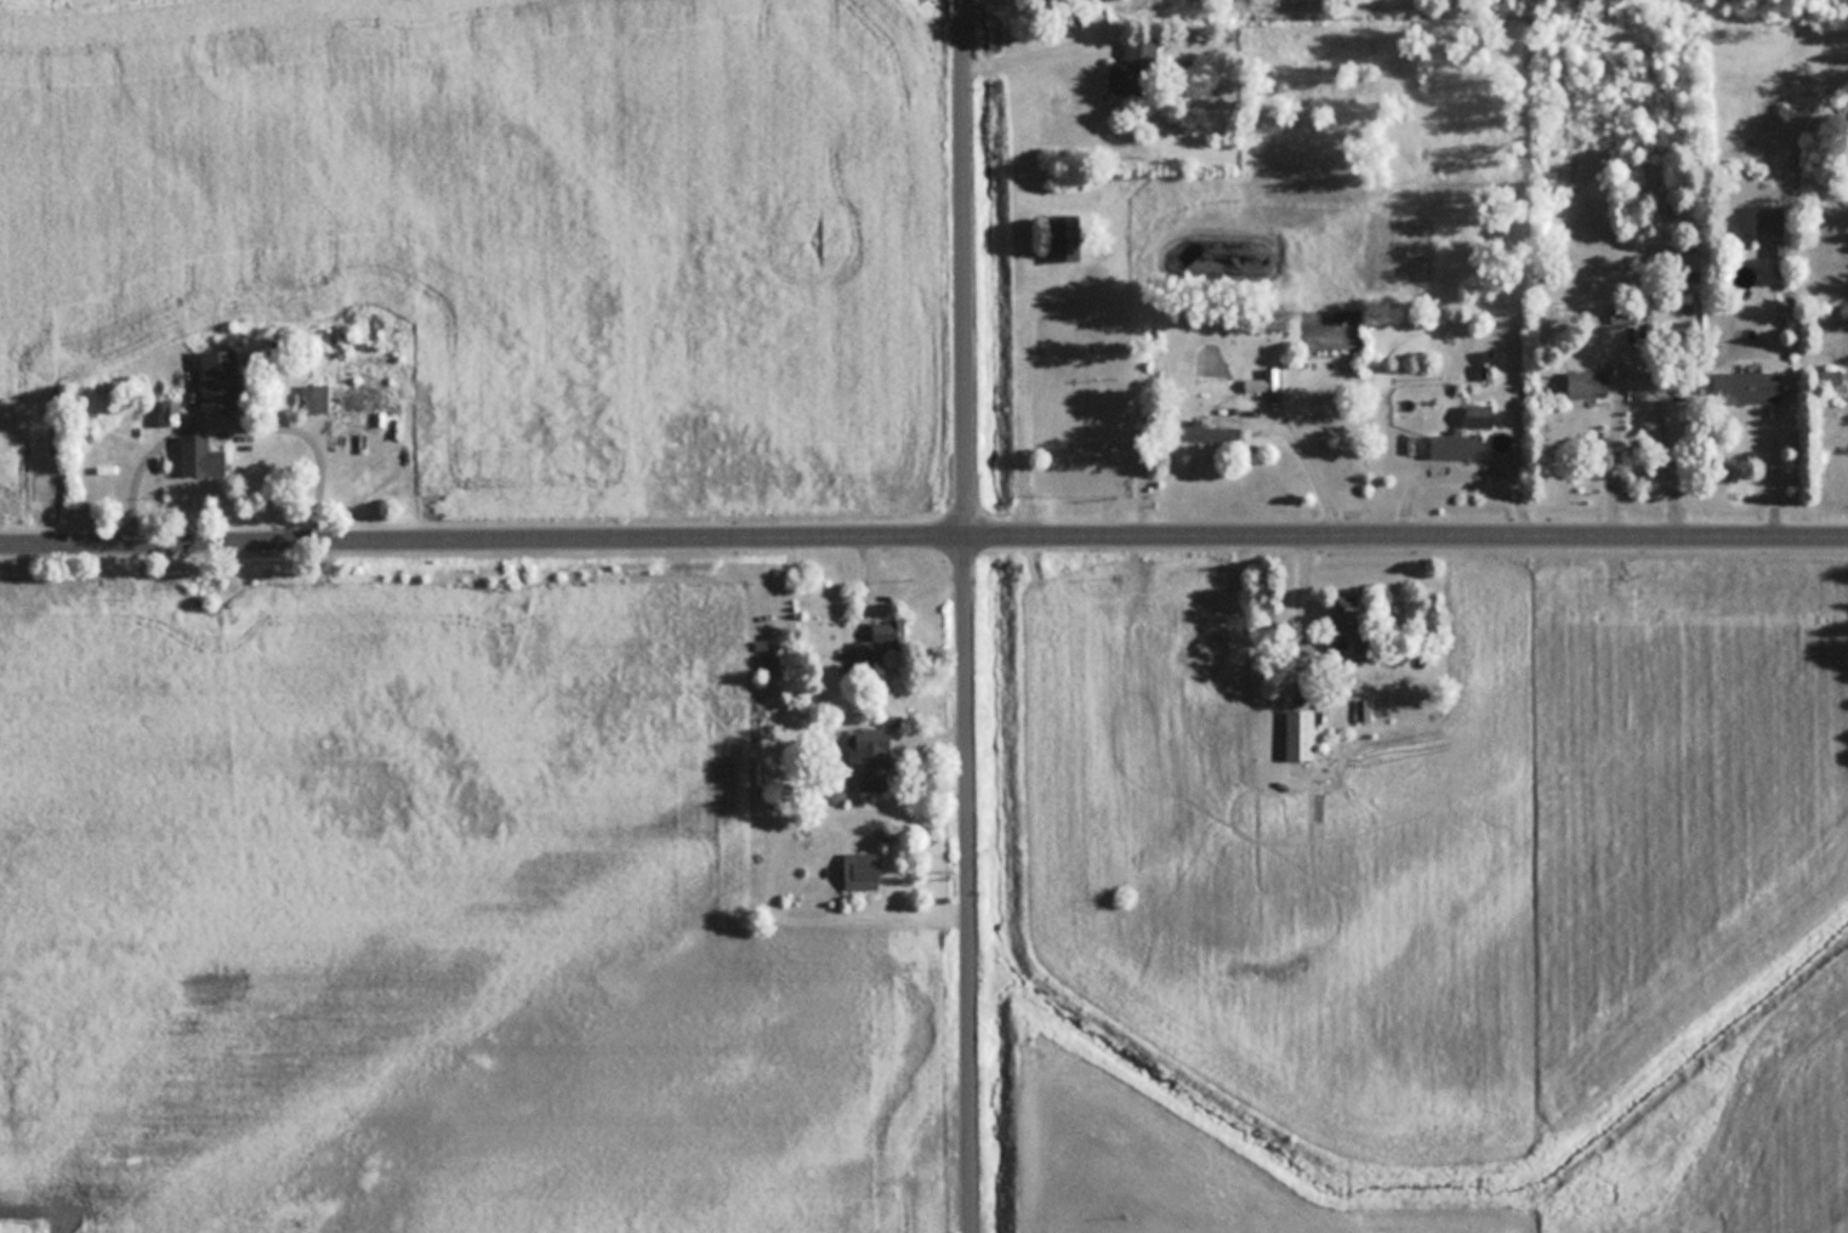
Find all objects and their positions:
road: (1034, 49)
building: (1132, 64)
building: (1769, 220)
building: (1067, 235)
road: (966, 268)
building: (1619, 312)
road: (1634, 347)
building: (218, 376)
building: (1263, 380)
building: (1587, 382)
building: (1746, 386)
building: (347, 398)
building: (1478, 414)
road: (232, 425)
building: (1207, 430)
building: (1456, 443)
building: (201, 455)
road: (1310, 456)
road: (1774, 470)
road: (923, 538)
building: (1353, 625)
building: (876, 643)
building: (1360, 709)
building: (1300, 733)
building: (874, 758)
building: (866, 869)
road: (971, 885)

